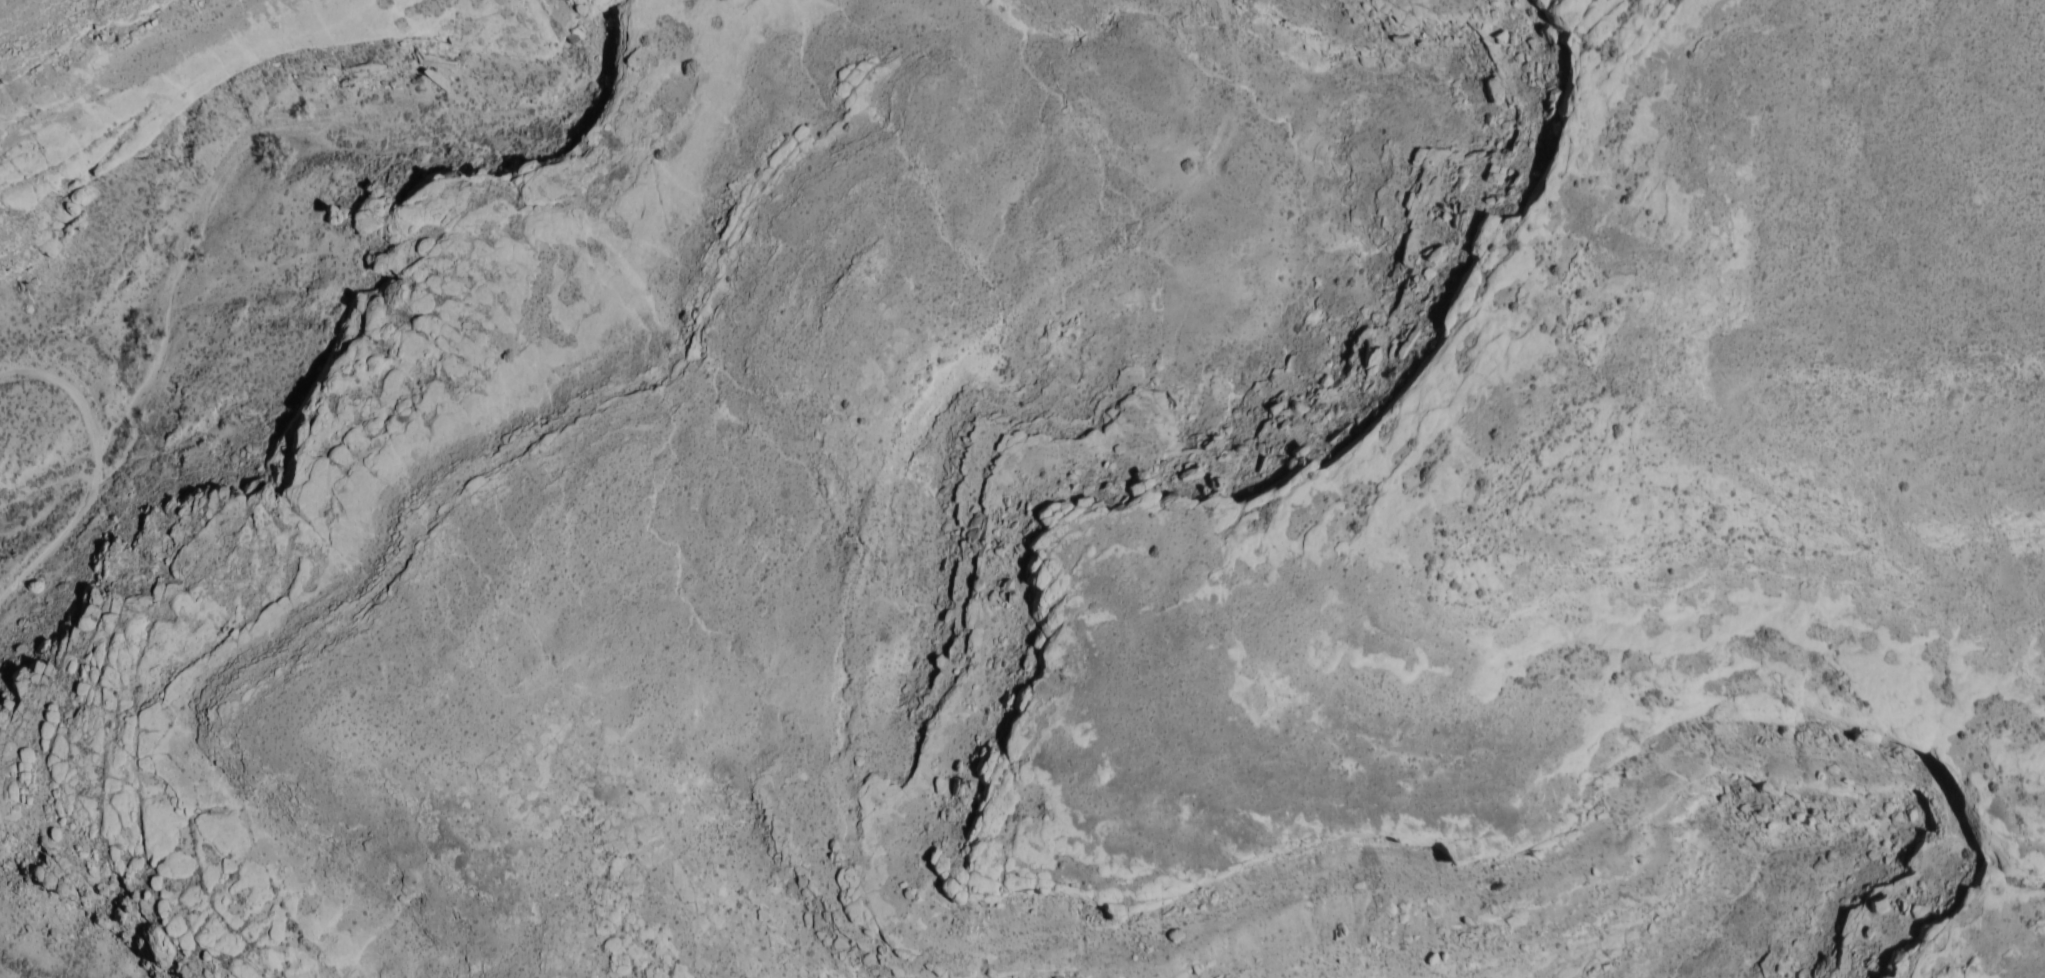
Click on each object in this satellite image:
road: (135, 74)
road: (97, 466)
road: (0, 977)

